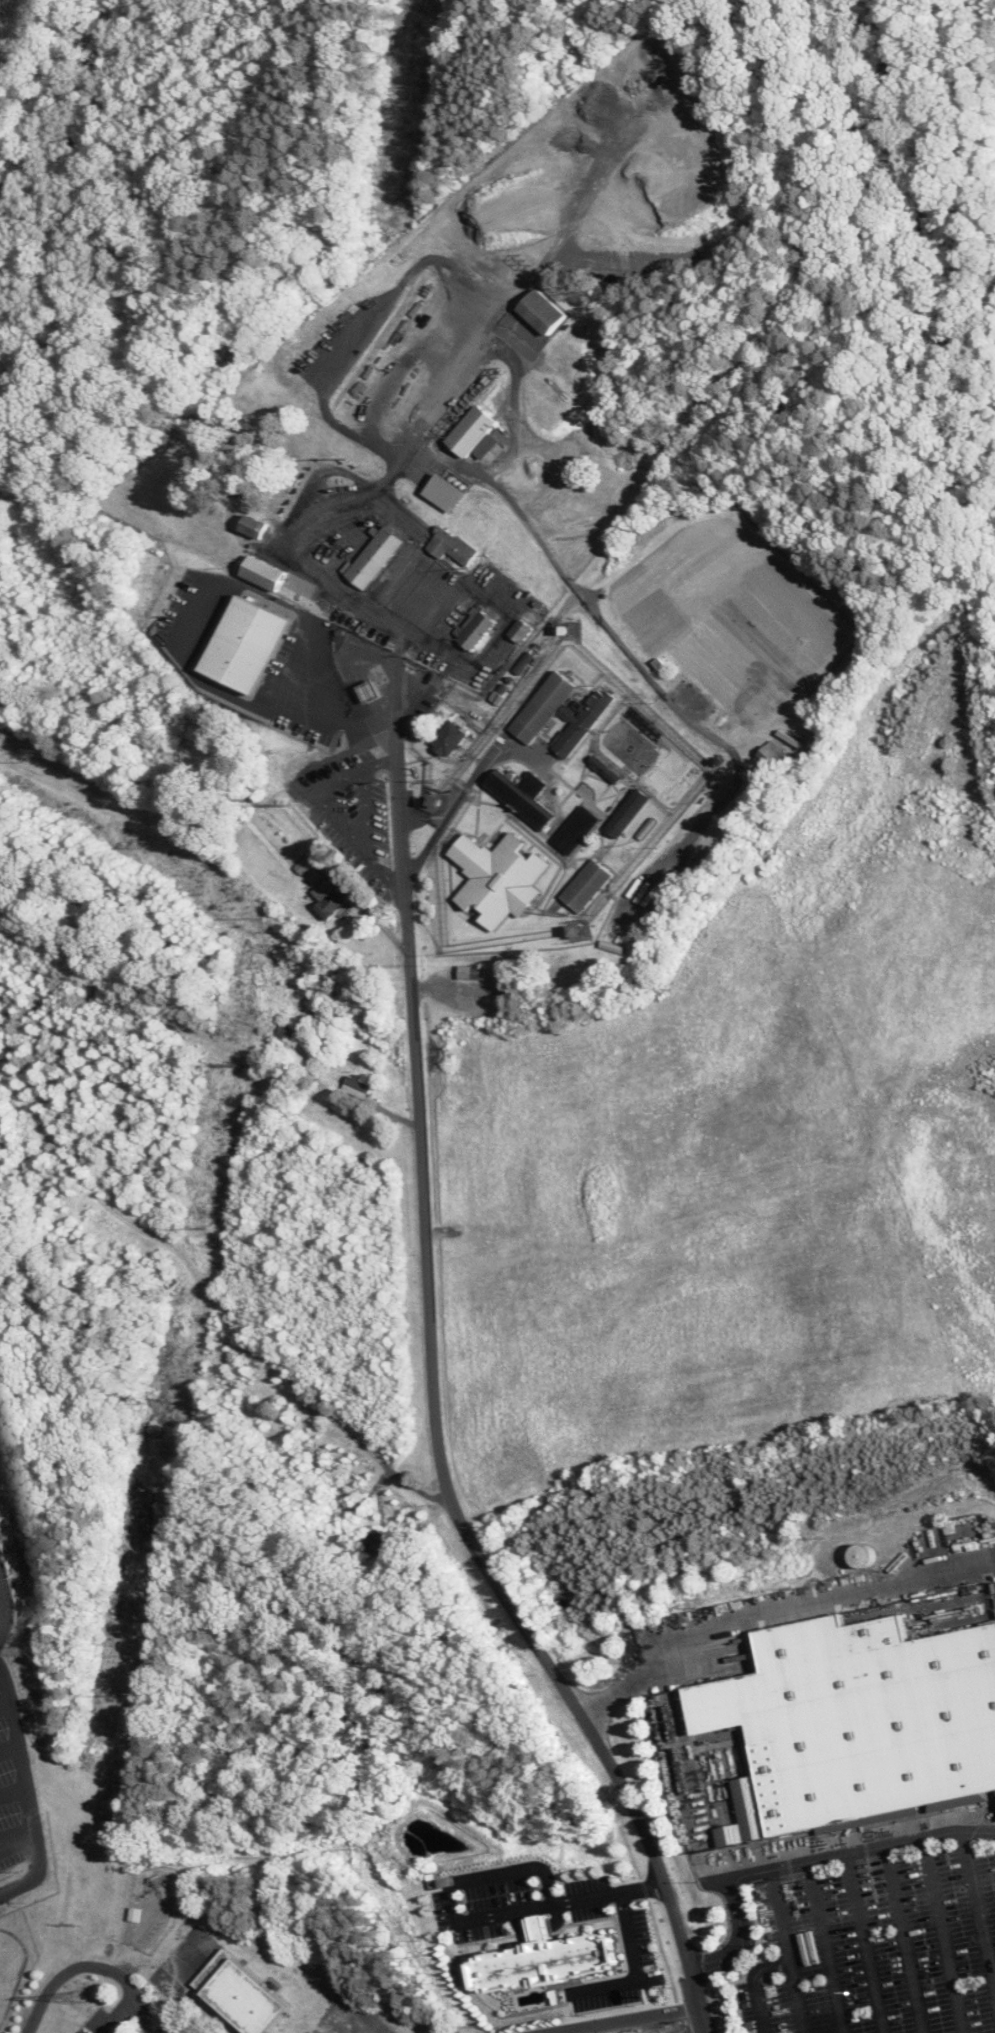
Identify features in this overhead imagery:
building: (547, 312)
building: (479, 433)
power tower: (346, 461)
building: (450, 493)
building: (257, 527)
building: (454, 547)
building: (379, 558)
building: (268, 574)
road: (417, 615)
building: (477, 628)
building: (524, 631)
road: (191, 668)
building: (375, 692)
building: (547, 708)
road: (346, 721)
building: (585, 723)
building: (453, 740)
building: (773, 759)
road: (460, 796)
building: (527, 796)
power tower: (283, 805)
road: (330, 809)
building: (634, 813)
road: (366, 814)
building: (580, 832)
building: (502, 879)
building: (591, 886)
building: (332, 900)
building: (474, 973)
power tower: (236, 1067)
building: (359, 1088)
power tower: (208, 1228)
building: (166, 1279)
road: (433, 1380)
building: (364, 1505)
building: (379, 1541)
building: (859, 1556)
road: (4, 1609)
road: (769, 1611)
power tower: (20, 1650)
power tower: (119, 1694)
road: (4, 1697)
building: (855, 1722)
road: (10, 1742)
road: (14, 1786)
road: (30, 1791)
road: (19, 1842)
road: (802, 1864)
parking lot: (519, 1903)
road: (979, 1910)
building: (138, 1915)
road: (474, 1916)
power tower: (74, 1925)
building: (538, 1934)
road: (944, 1935)
road: (905, 1939)
road: (866, 1943)
road: (827, 1948)
road: (85, 1963)
building: (551, 1963)
road: (786, 1963)
road: (637, 1966)
building: (243, 1996)
road: (797, 1998)
power tower: (83, 1999)
road: (625, 2018)
road: (703, 2028)

